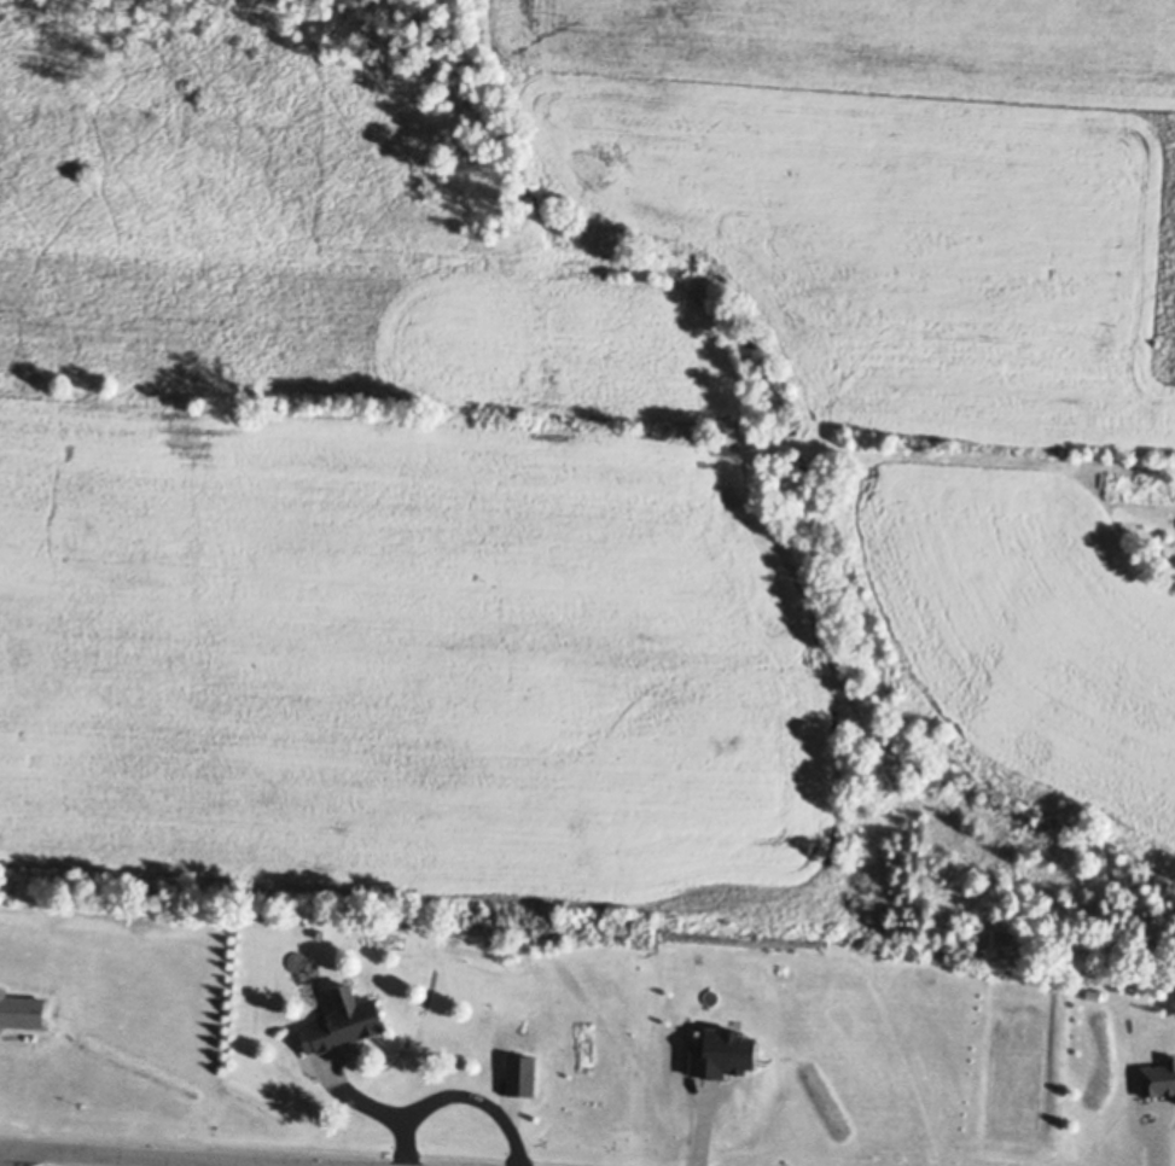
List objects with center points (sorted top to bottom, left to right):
building: (21, 1005)
building: (342, 1019)
building: (721, 1049)
building: (1158, 1073)
road: (427, 1098)
road: (403, 1139)
road: (13, 1158)
road: (133, 1158)

